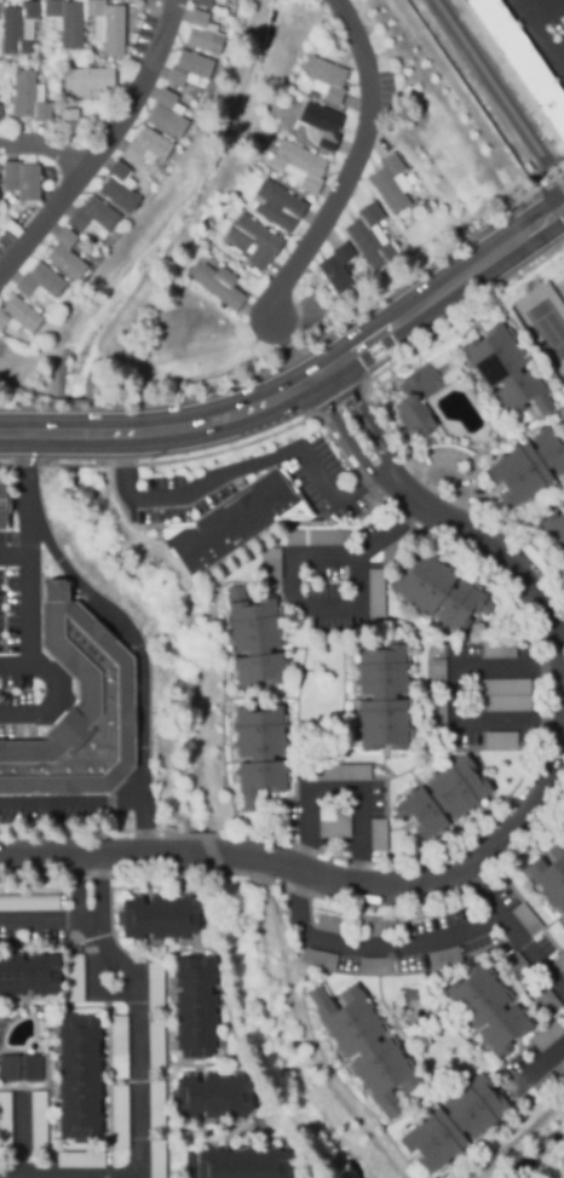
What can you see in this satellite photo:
building: (207, 4)
building: (65, 24)
building: (108, 28)
building: (17, 30)
road: (540, 34)
building: (202, 36)
building: (520, 63)
building: (188, 71)
building: (324, 82)
building: (86, 84)
railway: (497, 96)
building: (29, 99)
building: (167, 117)
building: (68, 120)
building: (321, 126)
building: (145, 149)
road: (105, 150)
road: (45, 151)
road: (357, 163)
building: (298, 167)
building: (22, 182)
building: (390, 186)
building: (119, 190)
building: (275, 208)
power tower: (506, 213)
building: (93, 219)
power tower: (472, 234)
building: (369, 239)
building: (253, 243)
building: (64, 258)
building: (336, 270)
power tower: (507, 282)
building: (39, 285)
building: (218, 288)
building: (18, 320)
building: (505, 373)
road: (306, 389)
building: (420, 400)
building: (560, 420)
road: (240, 471)
building: (528, 471)
road: (451, 476)
building: (562, 506)
building: (2, 510)
road: (455, 522)
building: (234, 524)
building: (554, 533)
building: (313, 540)
road: (38, 552)
building: (271, 567)
road: (292, 568)
building: (375, 596)
building: (438, 596)
building: (254, 642)
road: (562, 642)
road: (31, 650)
building: (499, 653)
road: (140, 666)
road: (21, 667)
building: (437, 678)
road: (455, 696)
building: (503, 696)
building: (381, 699)
building: (77, 713)
building: (438, 718)
building: (501, 742)
building: (258, 754)
building: (340, 775)
road: (341, 792)
building: (443, 800)
building: (333, 821)
road: (138, 824)
building: (378, 835)
road: (334, 846)
building: (551, 878)
road: (316, 879)
road: (100, 886)
road: (77, 887)
building: (29, 906)
building: (156, 919)
road: (90, 920)
road: (39, 921)
building: (526, 921)
building: (333, 927)
building: (374, 931)
road: (421, 948)
building: (444, 960)
building: (320, 961)
building: (559, 965)
building: (374, 967)
building: (519, 970)
building: (28, 977)
building: (75, 981)
building: (157, 989)
building: (410, 996)
building: (545, 1000)
building: (194, 1010)
building: (487, 1011)
road: (137, 1038)
building: (547, 1038)
building: (157, 1047)
building: (366, 1048)
building: (120, 1050)
building: (21, 1071)
road: (540, 1071)
building: (559, 1071)
building: (79, 1079)
building: (539, 1092)
building: (213, 1099)
building: (159, 1108)
building: (120, 1119)
building: (5, 1122)
building: (38, 1125)
building: (453, 1126)
building: (160, 1160)
building: (80, 1162)
building: (236, 1166)

